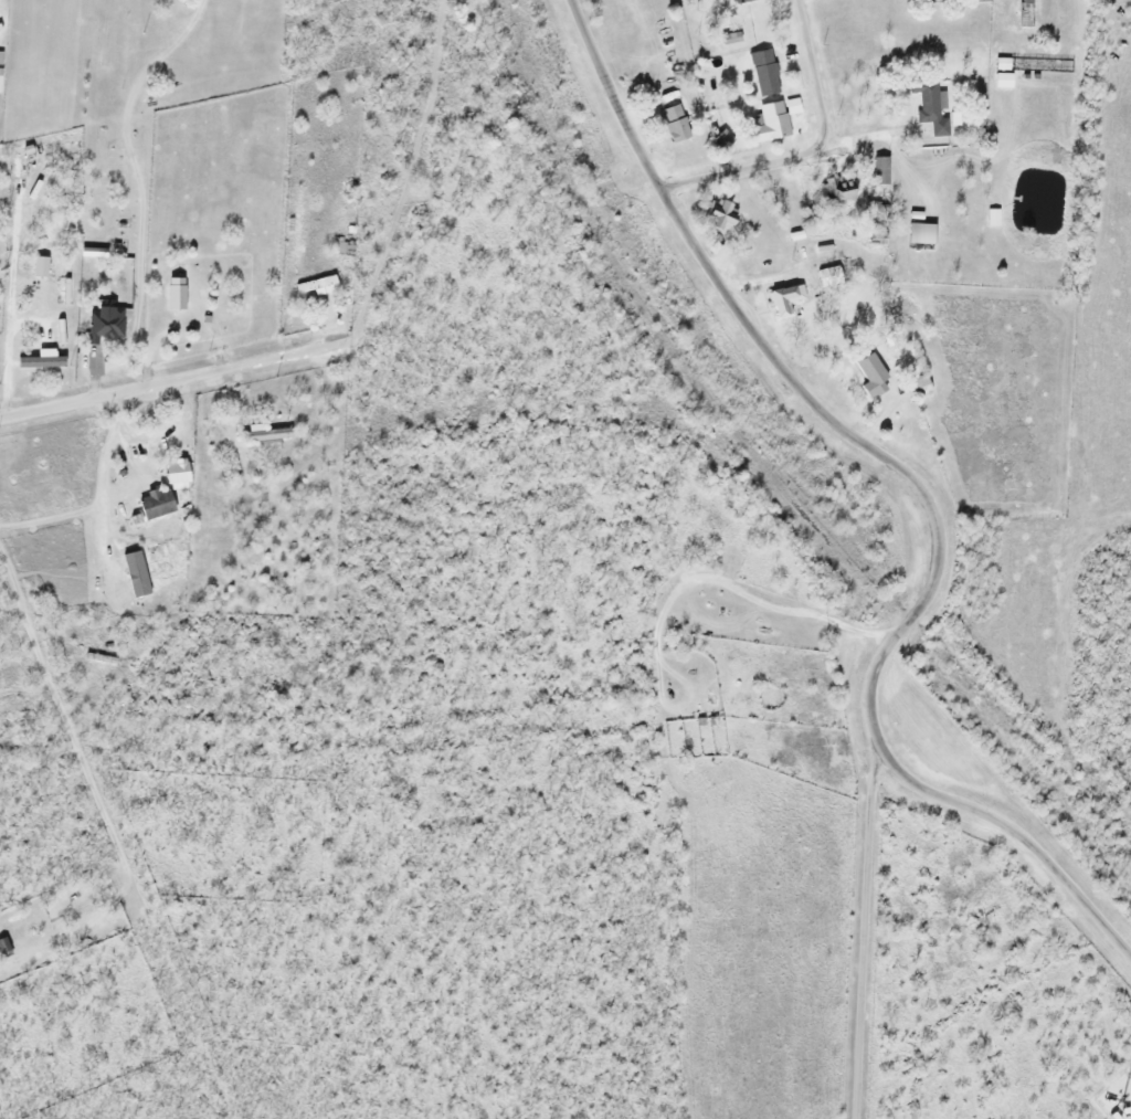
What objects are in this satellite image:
building: (742, 0)
building: (763, 72)
building: (928, 106)
building: (674, 123)
building: (770, 123)
road: (813, 149)
building: (878, 170)
building: (837, 189)
building: (720, 214)
building: (918, 233)
building: (342, 249)
building: (314, 286)
building: (175, 293)
building: (783, 299)
building: (104, 325)
building: (870, 376)
road: (172, 377)
road: (794, 378)
building: (918, 386)
building: (264, 434)
railway: (306, 450)
building: (154, 503)
road: (1014, 828)
road: (866, 928)

